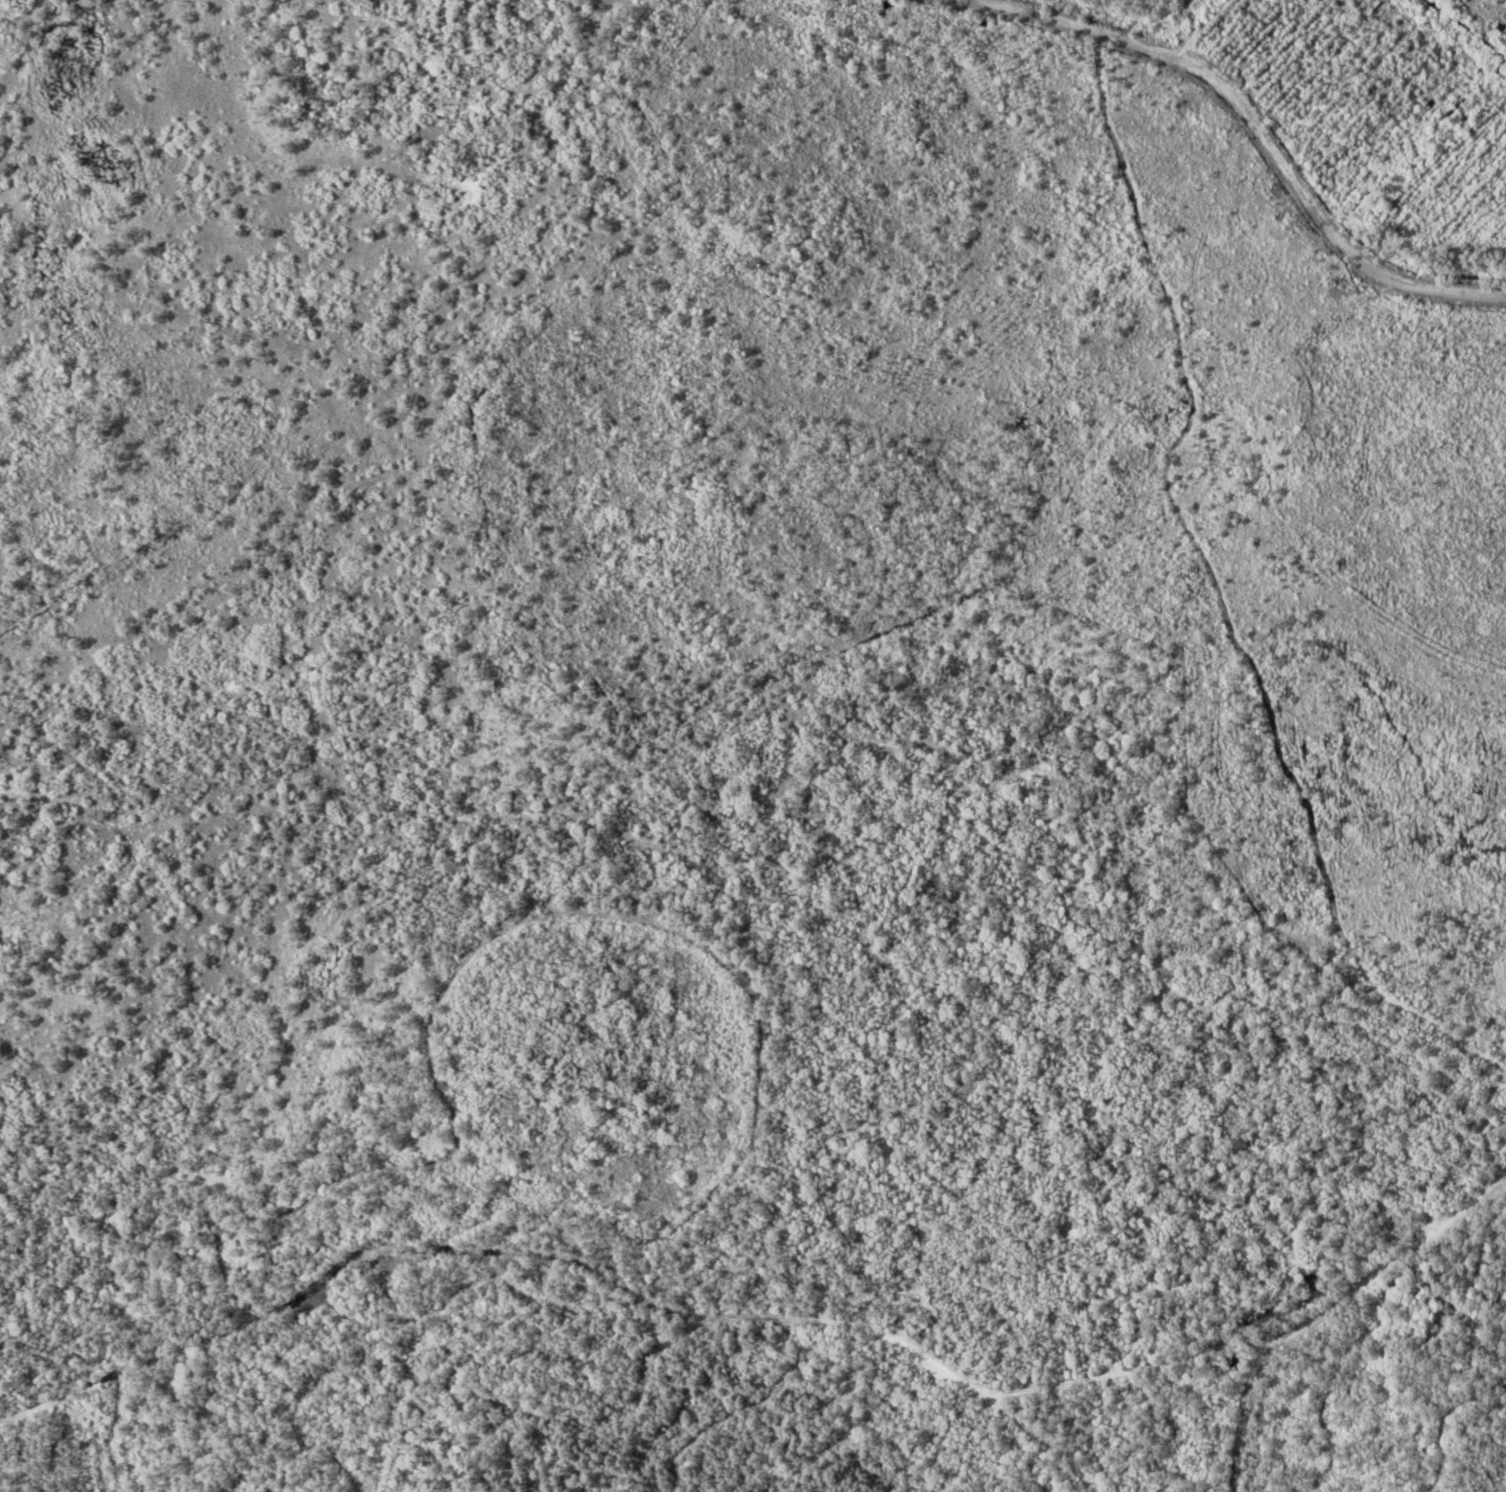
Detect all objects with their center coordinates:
road: (1254, 128)
road: (629, 1285)
road: (1332, 1322)

